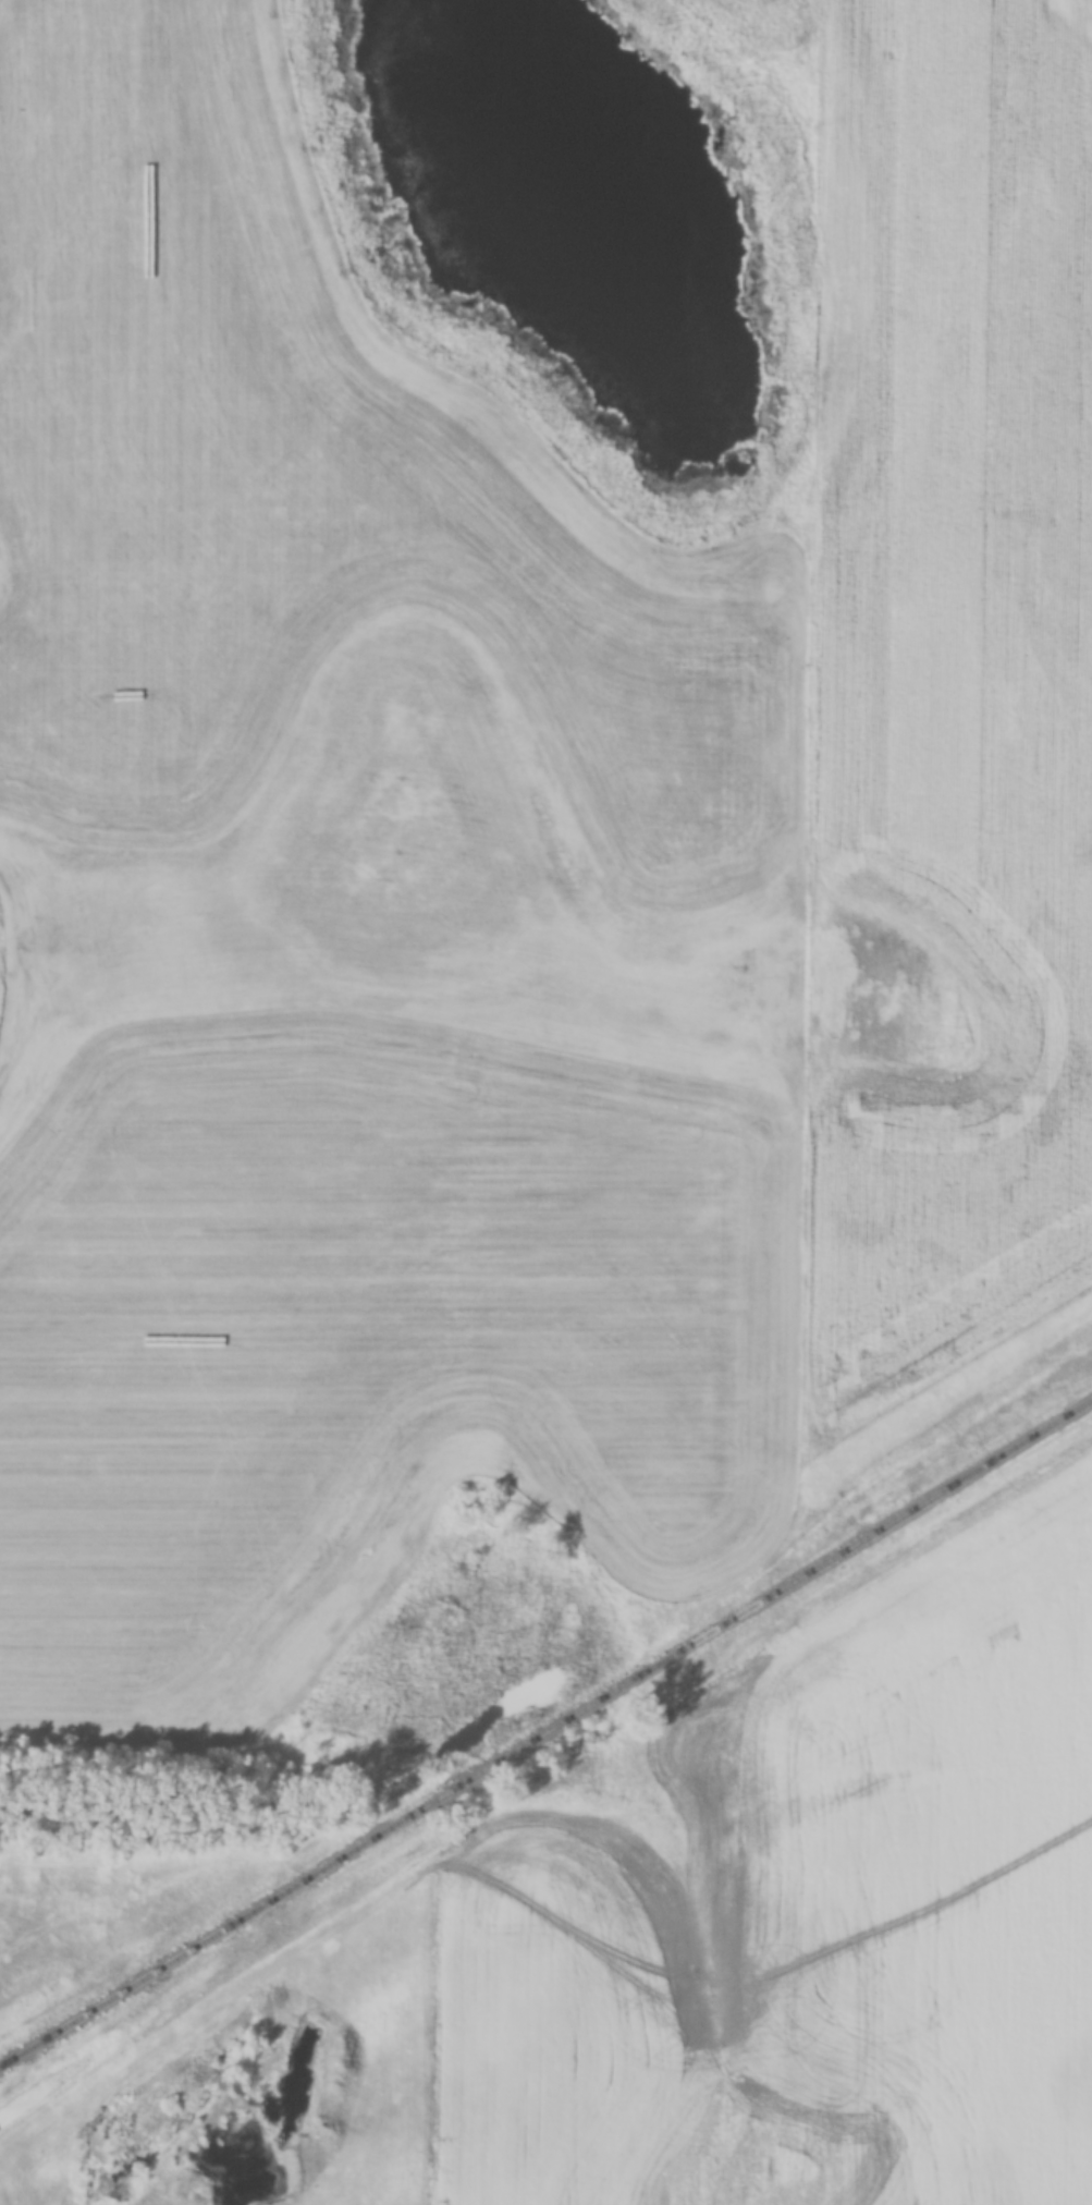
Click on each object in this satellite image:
building: (187, 583)
railway: (545, 1737)

